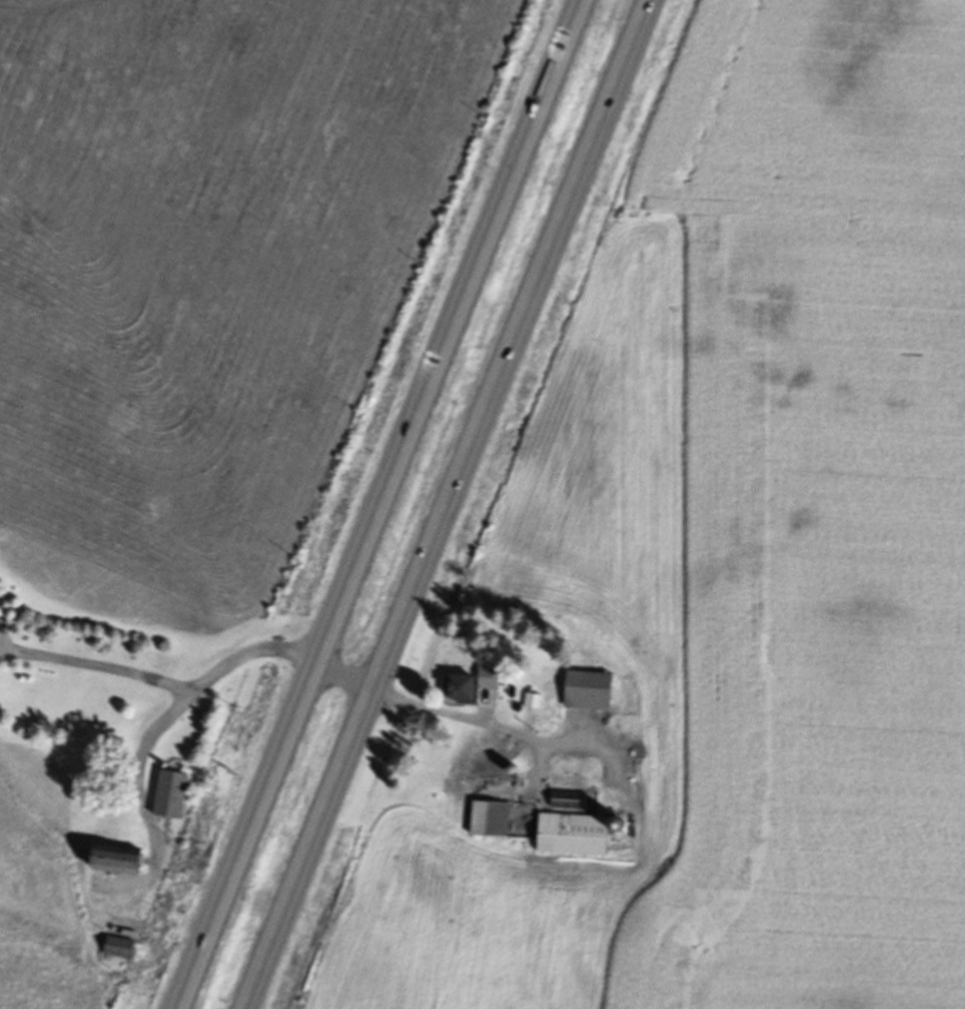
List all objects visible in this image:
road: (446, 504)
road: (374, 506)
road: (97, 667)
road: (341, 676)
building: (480, 687)
road: (186, 699)
building: (580, 699)
road: (460, 713)
building: (574, 785)
building: (175, 797)
building: (571, 804)
building: (498, 808)
building: (577, 837)
building: (627, 842)
building: (124, 865)
building: (121, 951)

